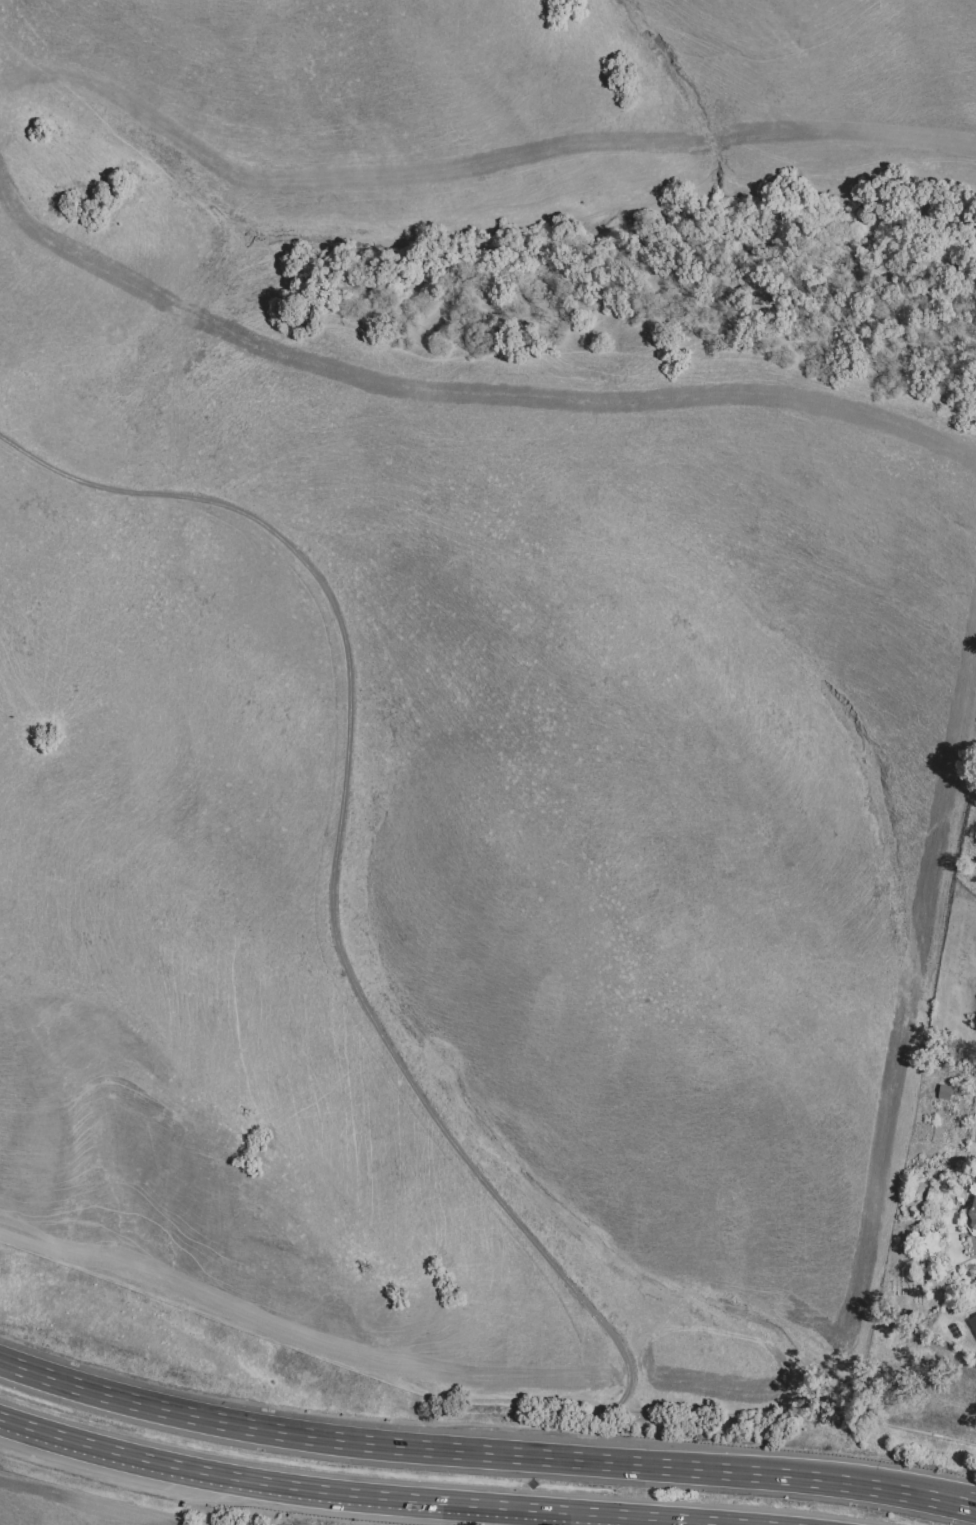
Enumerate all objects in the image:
road: (338, 875)
building: (944, 1093)
building: (971, 1217)
road: (973, 1309)
building: (973, 1324)
road: (478, 1452)
road: (377, 1495)
road: (970, 1500)

